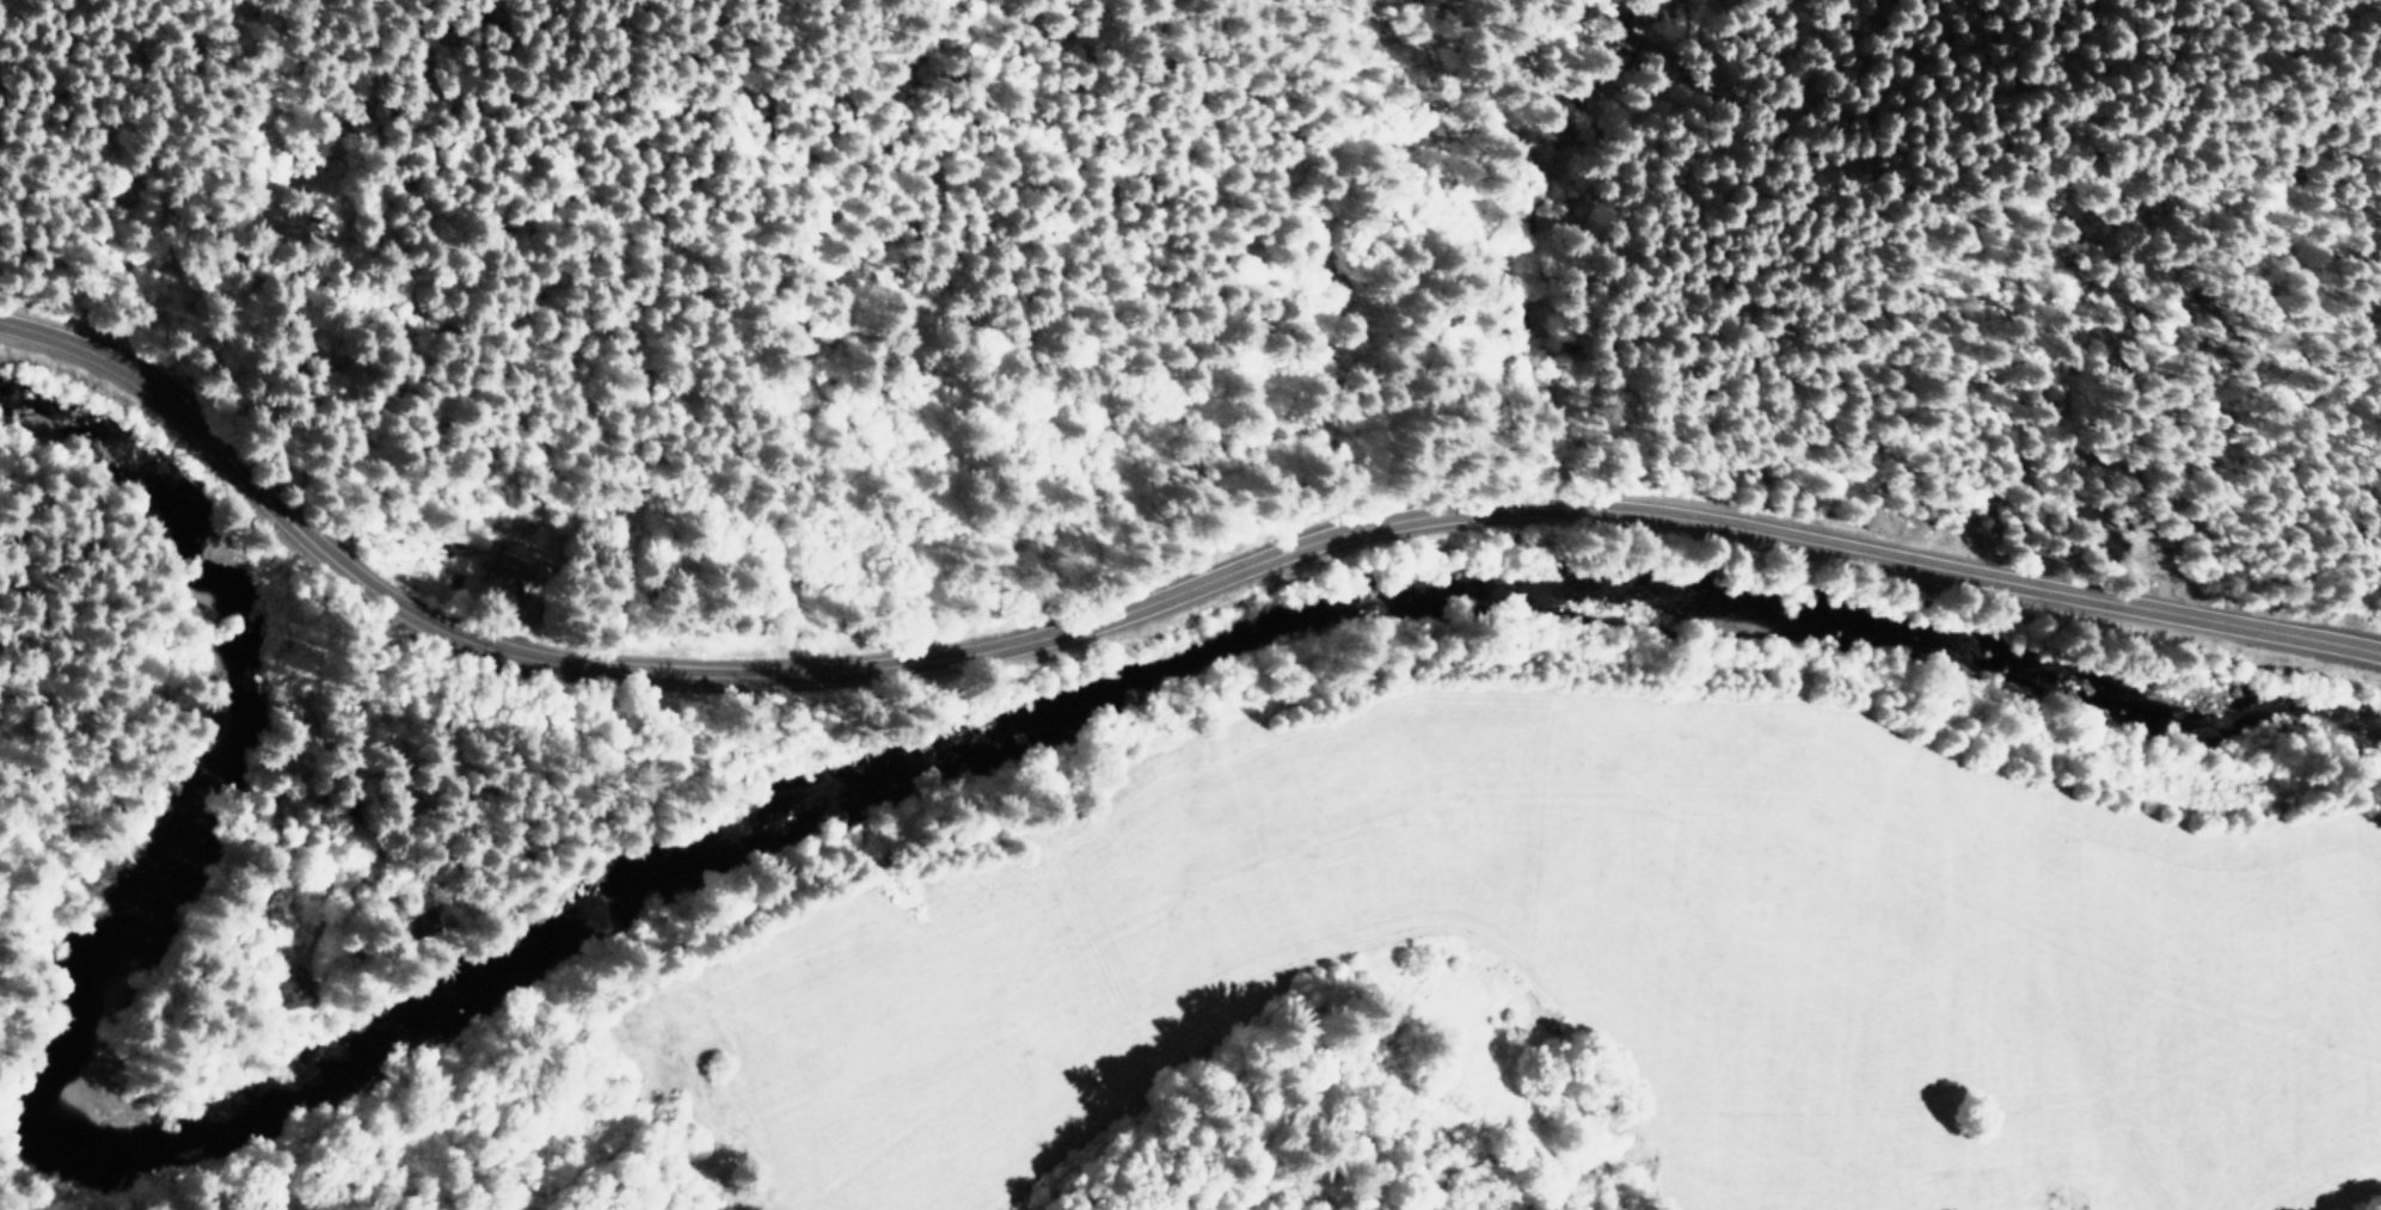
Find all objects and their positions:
road: (1150, 618)
road: (424, 796)
river: (755, 830)

